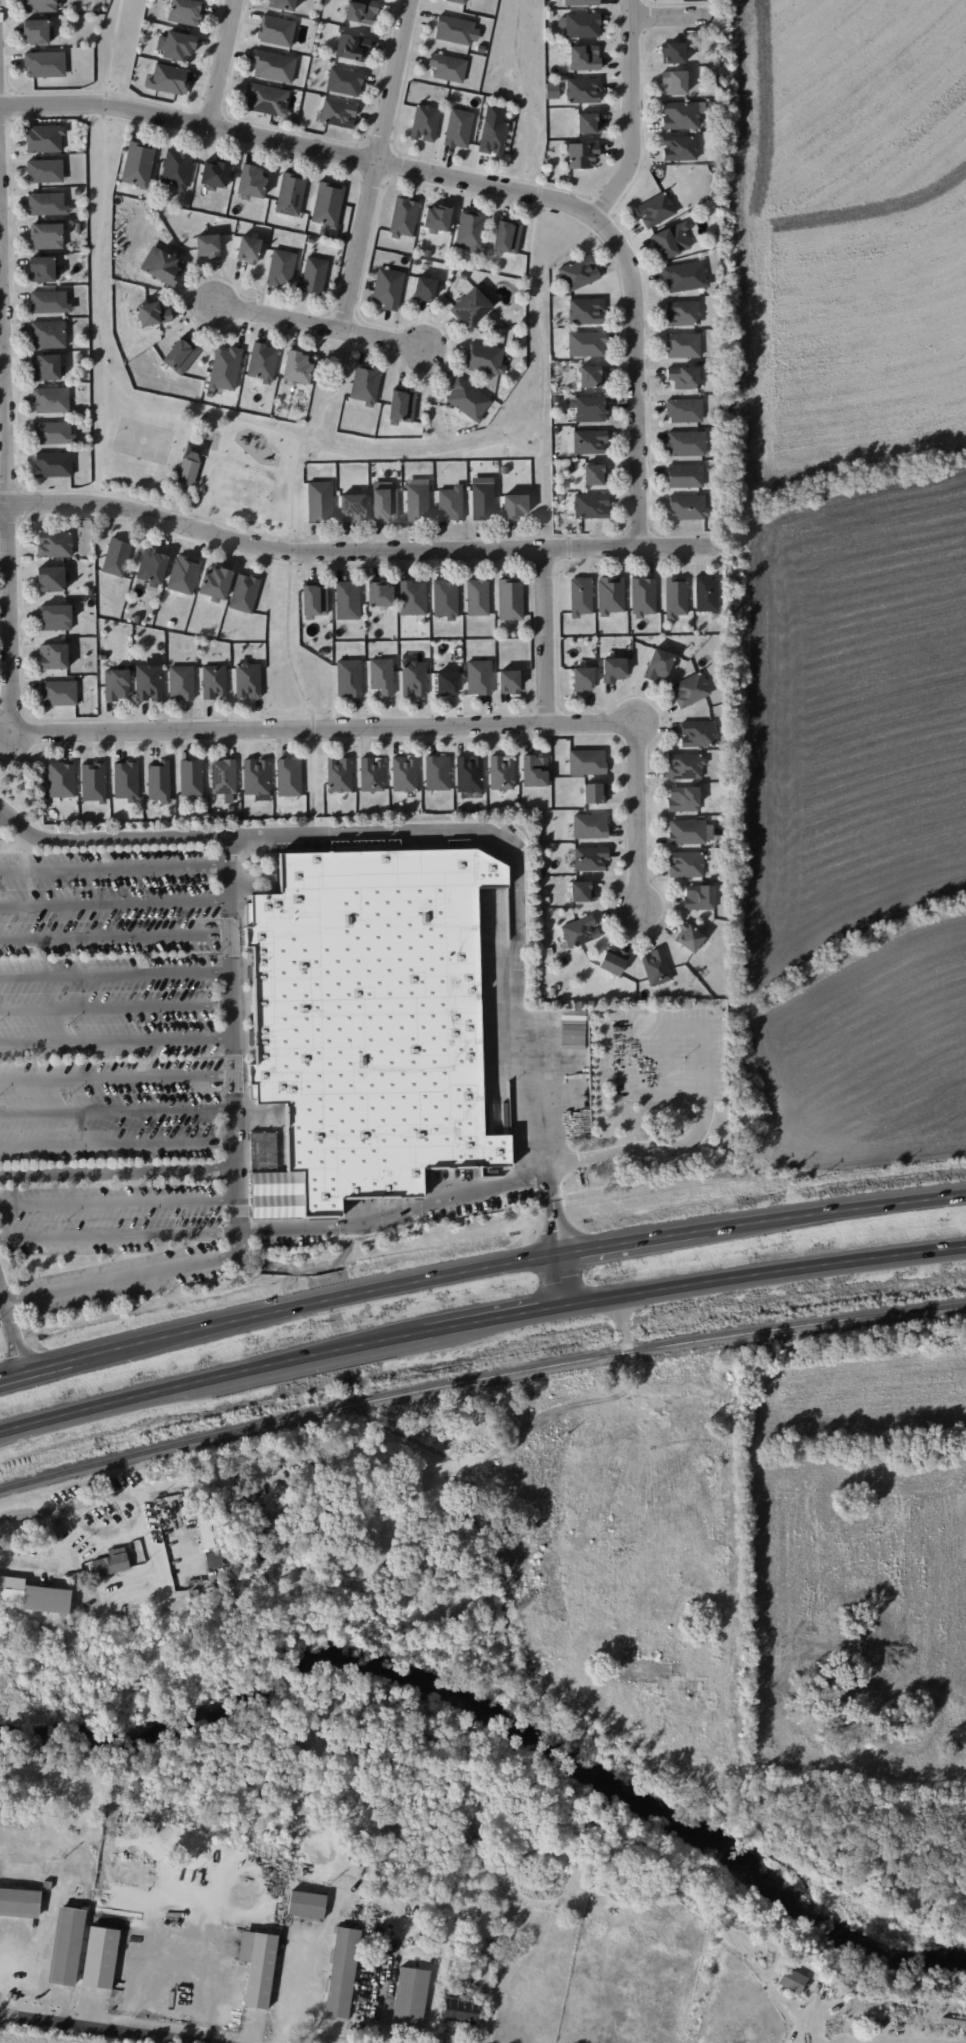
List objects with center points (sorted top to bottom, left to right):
building: (458, 1)
building: (581, 2)
building: (282, 4)
building: (39, 5)
building: (185, 11)
building: (361, 11)
road: (668, 16)
building: (582, 24)
building: (276, 30)
building: (454, 30)
building: (37, 31)
building: (176, 46)
building: (352, 47)
building: (673, 52)
building: (584, 57)
building: (45, 64)
road: (212, 65)
building: (273, 66)
building: (448, 67)
building: (169, 78)
building: (344, 81)
building: (674, 81)
building: (583, 90)
building: (267, 99)
building: (338, 113)
building: (680, 115)
road: (628, 117)
building: (425, 122)
building: (588, 123)
building: (458, 128)
building: (493, 130)
building: (44, 138)
building: (679, 147)
building: (582, 154)
building: (138, 163)
road: (376, 167)
building: (176, 168)
building: (45, 171)
building: (214, 173)
building: (252, 181)
road: (463, 184)
building: (290, 194)
building: (327, 203)
building: (47, 204)
building: (655, 209)
building: (404, 216)
building: (437, 218)
building: (470, 230)
building: (46, 236)
building: (507, 236)
building: (670, 240)
building: (208, 246)
building: (248, 249)
building: (166, 267)
building: (281, 268)
building: (43, 269)
building: (577, 274)
building: (314, 275)
building: (684, 276)
building: (388, 288)
building: (424, 289)
building: (49, 302)
building: (471, 307)
building: (586, 311)
building: (153, 313)
building: (682, 313)
road: (308, 328)
building: (48, 334)
building: (586, 343)
building: (682, 345)
building: (181, 354)
building: (485, 358)
building: (262, 362)
building: (297, 366)
building: (46, 367)
building: (225, 368)
building: (591, 376)
building: (684, 377)
building: (365, 384)
building: (468, 399)
building: (51, 400)
building: (402, 405)
building: (590, 409)
building: (684, 410)
building: (53, 432)
building: (589, 441)
building: (686, 443)
building: (53, 464)
building: (187, 471)
building: (595, 474)
building: (685, 476)
building: (482, 498)
building: (319, 501)
building: (417, 502)
building: (450, 503)
road: (3, 504)
building: (385, 504)
building: (515, 505)
building: (591, 505)
building: (687, 507)
building: (352, 508)
building: (54, 544)
road: (352, 554)
building: (116, 557)
building: (152, 565)
building: (183, 574)
building: (50, 579)
building: (215, 582)
building: (244, 592)
building: (706, 593)
building: (380, 594)
building: (610, 595)
building: (643, 595)
building: (580, 596)
building: (675, 596)
building: (412, 597)
building: (477, 597)
building: (510, 598)
building: (445, 599)
building: (314, 600)
building: (347, 600)
building: (55, 617)
road: (539, 640)
building: (53, 656)
building: (658, 664)
building: (613, 669)
building: (381, 675)
building: (348, 677)
building: (479, 677)
building: (413, 678)
building: (582, 678)
building: (248, 679)
building: (213, 681)
building: (508, 681)
building: (148, 682)
building: (181, 682)
building: (446, 683)
building: (116, 684)
building: (690, 689)
building: (59, 692)
road: (167, 732)
building: (698, 733)
building: (587, 761)
building: (685, 766)
building: (534, 771)
building: (437, 772)
building: (501, 773)
building: (339, 774)
building: (371, 774)
building: (404, 774)
building: (469, 774)
building: (223, 776)
building: (256, 776)
building: (191, 777)
building: (288, 777)
building: (61, 779)
building: (125, 780)
building: (93, 781)
building: (158, 781)
building: (594, 793)
building: (683, 798)
building: (590, 825)
building: (690, 831)
road: (488, 833)
building: (590, 858)
building: (686, 864)
road: (113, 867)
building: (582, 891)
building: (699, 897)
road: (114, 904)
building: (579, 931)
road: (114, 937)
building: (689, 938)
building: (613, 961)
building: (656, 967)
road: (115, 973)
road: (116, 1007)
building: (377, 1025)
road: (116, 1041)
parking lot: (119, 1073)
road: (117, 1079)
road: (117, 1111)
road: (118, 1145)
road: (237, 1164)
road: (119, 1173)
road: (524, 1175)
road: (119, 1201)
road: (120, 1236)
road: (516, 1260)
road: (479, 1322)
road: (11, 1335)
road: (36, 1368)
railway: (479, 1380)
road: (158, 1490)
building: (269, 1519)
road: (112, 1530)
building: (212, 1532)
road: (390, 1536)
building: (213, 1558)
road: (29, 1561)
building: (109, 1564)
building: (34, 1595)
building: (19, 1902)
building: (306, 1904)
road: (0, 1941)
building: (66, 1946)
building: (100, 1957)
building: (258, 1966)
building: (342, 1973)
building: (792, 1980)
building: (410, 1999)
building: (460, 2011)
road: (99, 2028)
crop: (12, 2041)

